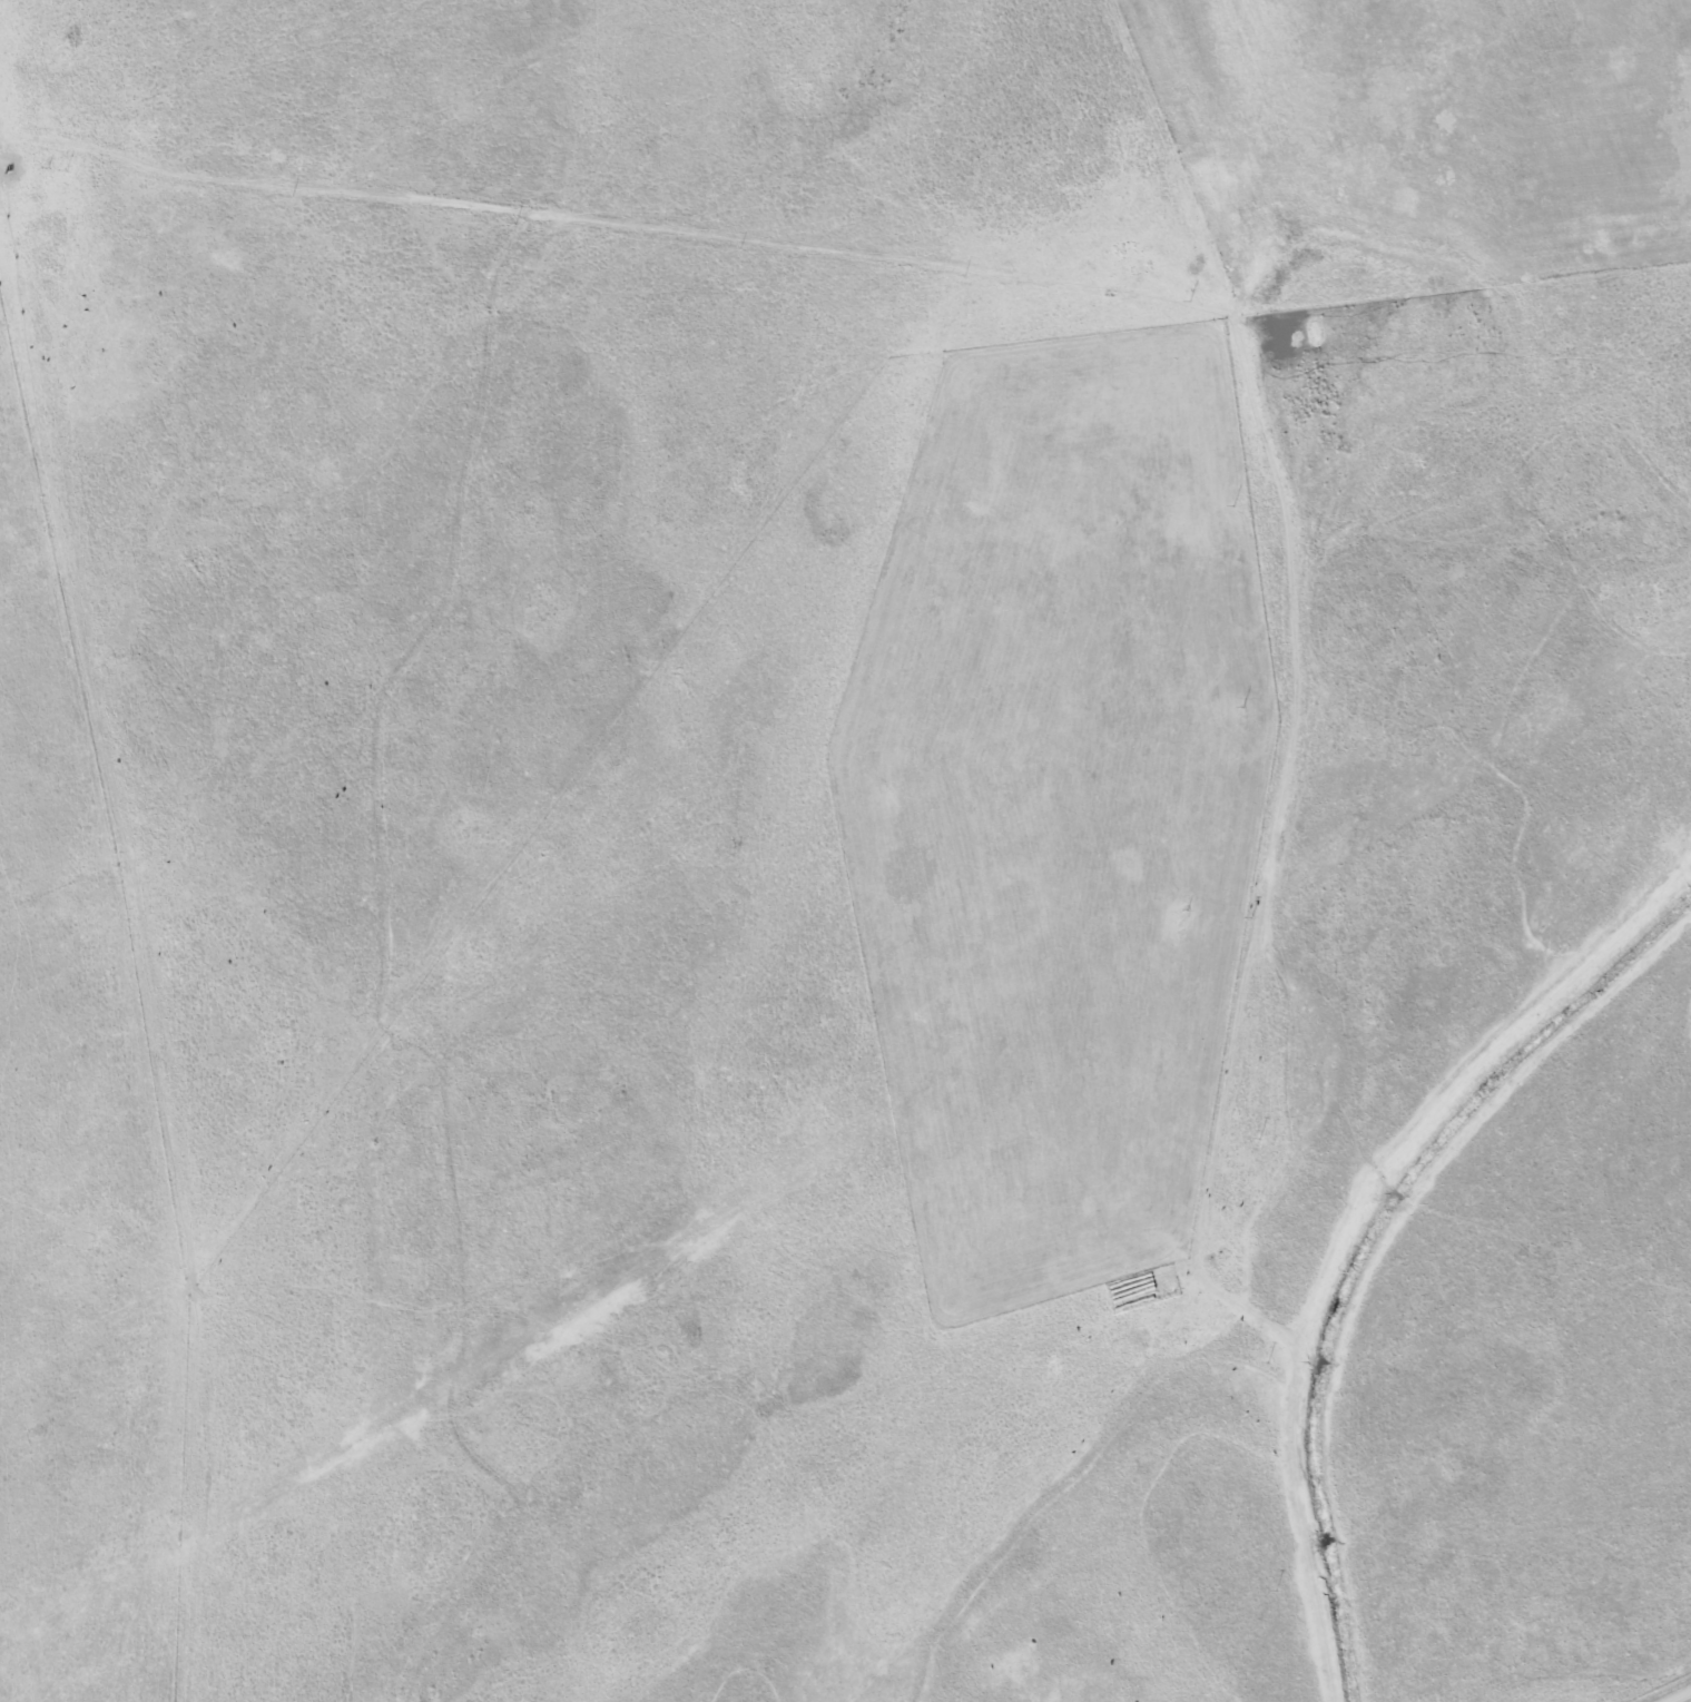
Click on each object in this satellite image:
road: (1671, 1692)

